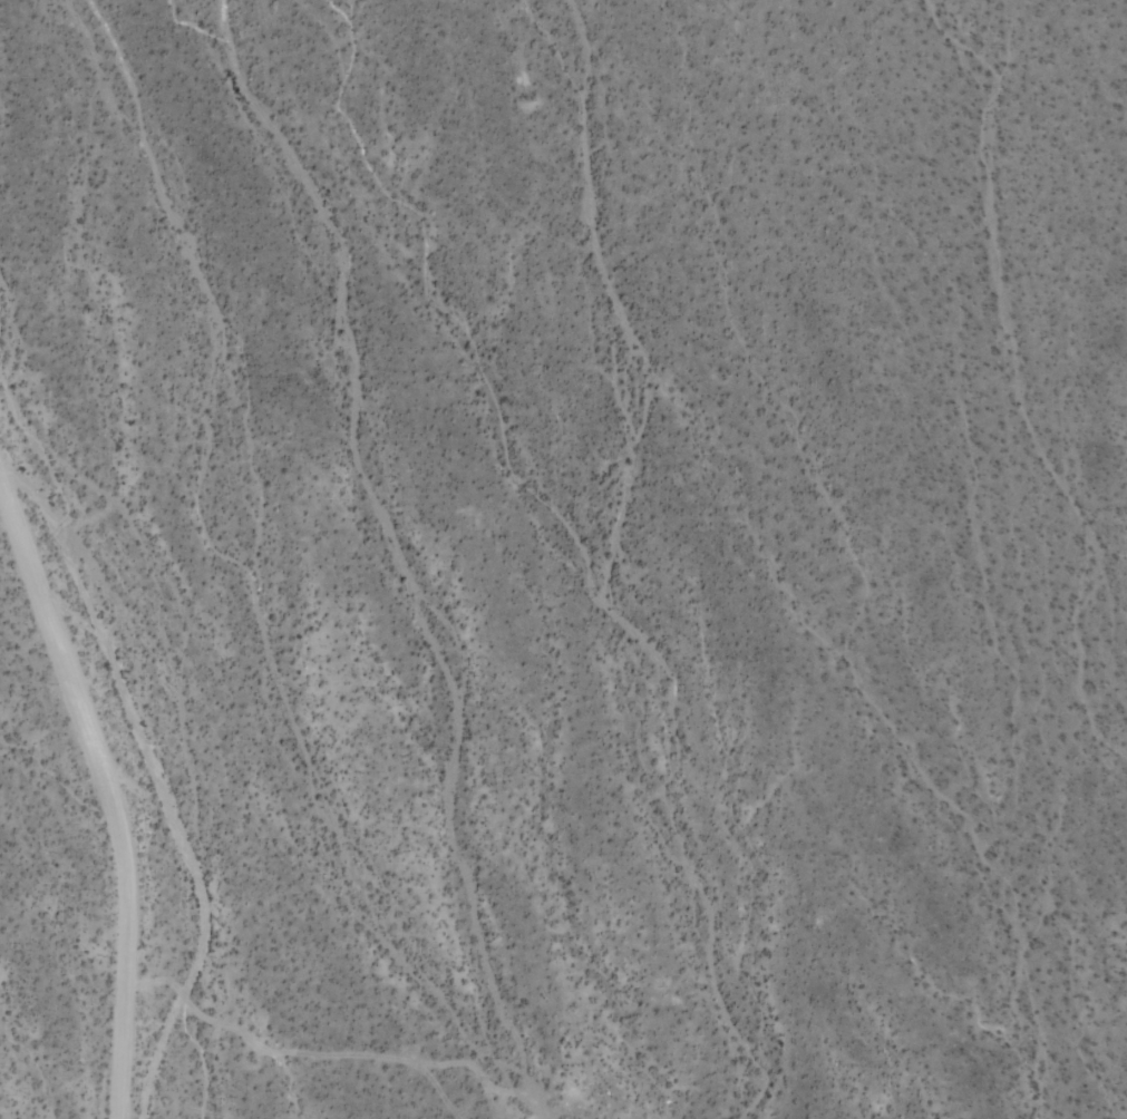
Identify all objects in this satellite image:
road: (107, 794)

